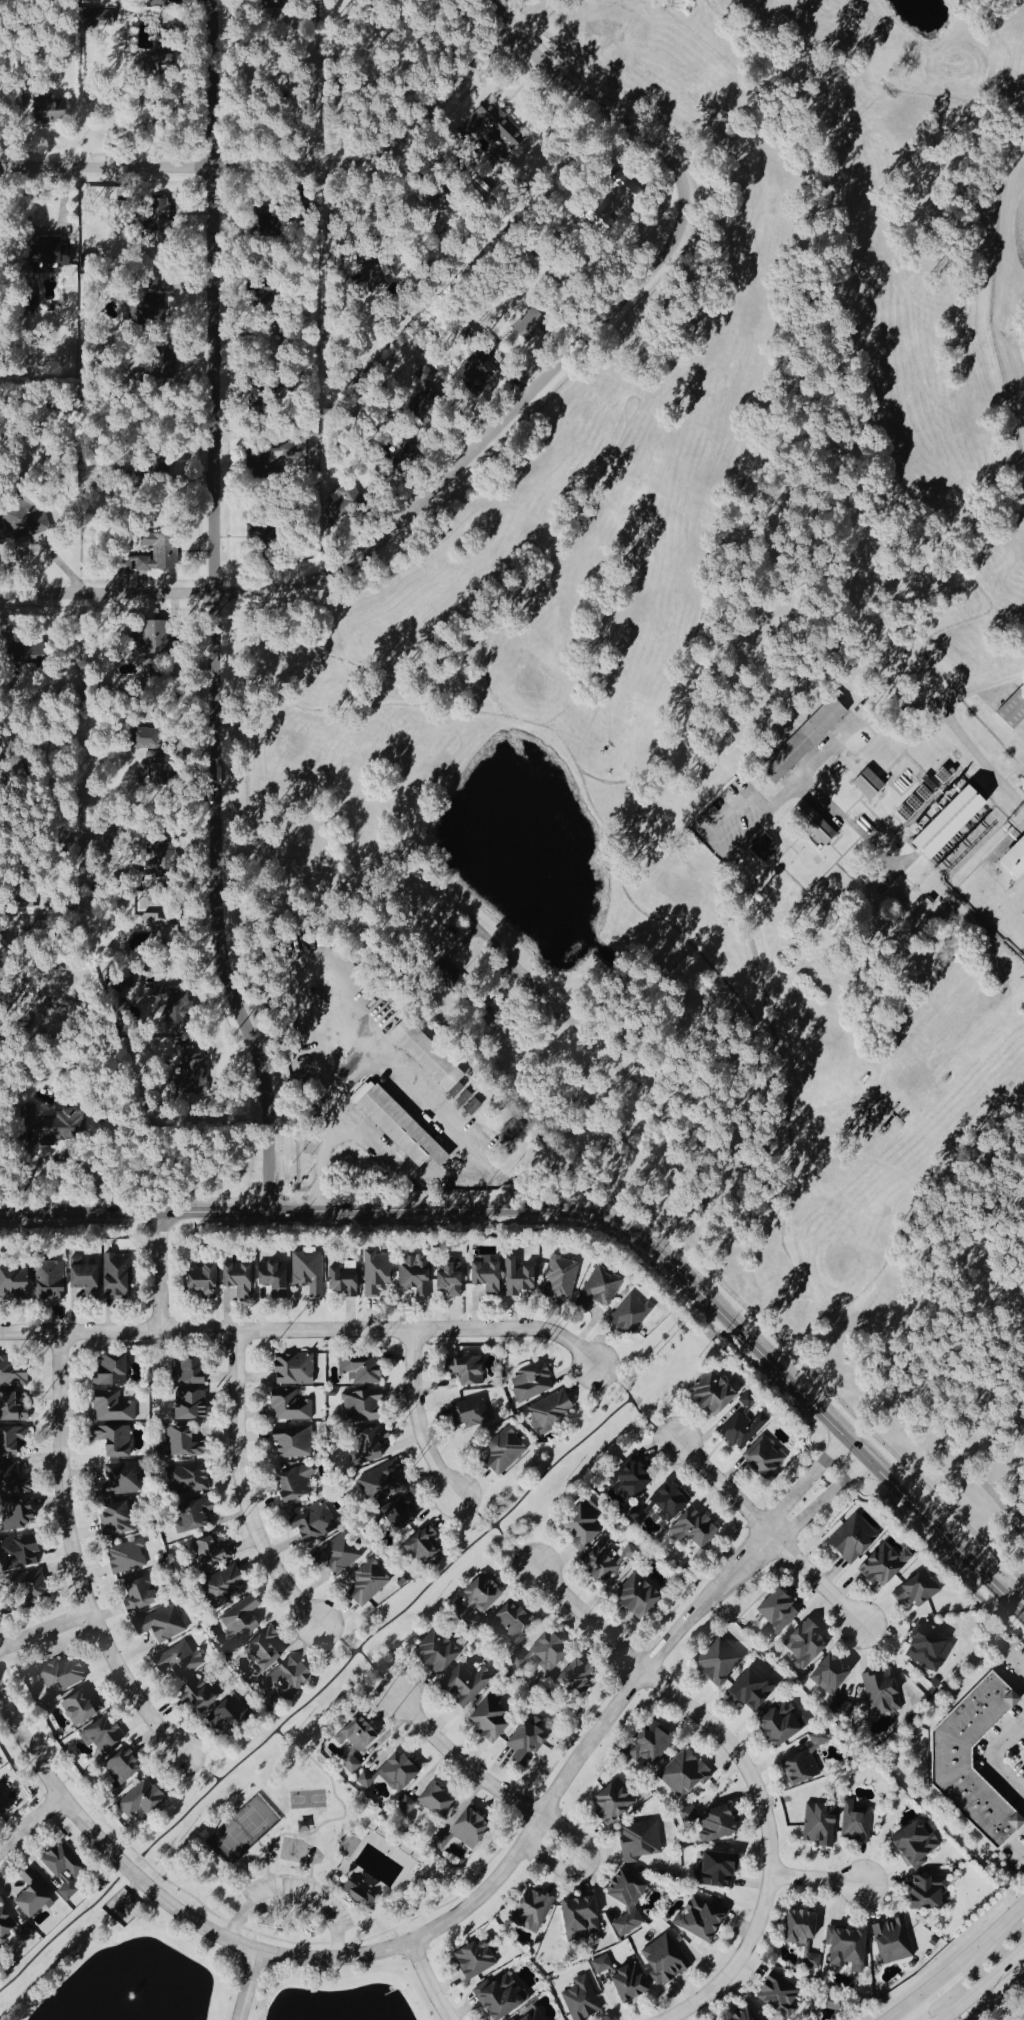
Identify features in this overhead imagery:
building: (95, 16)
road: (506, 17)
building: (44, 109)
building: (495, 122)
road: (278, 162)
building: (156, 212)
road: (328, 220)
building: (47, 252)
building: (372, 275)
building: (148, 284)
building: (28, 304)
building: (151, 306)
building: (484, 348)
building: (422, 372)
building: (470, 372)
road: (490, 433)
building: (258, 457)
building: (22, 517)
road: (42, 549)
building: (162, 550)
road: (218, 609)
building: (147, 635)
building: (25, 650)
road: (946, 695)
building: (1010, 706)
building: (142, 737)
building: (801, 739)
road: (967, 741)
building: (865, 782)
road: (802, 785)
building: (910, 803)
road: (728, 808)
building: (811, 821)
building: (943, 822)
building: (761, 846)
building: (1011, 857)
building: (175, 1002)
building: (432, 1053)
building: (193, 1062)
road: (786, 1089)
building: (398, 1128)
road: (387, 1155)
road: (590, 1217)
road: (159, 1272)
building: (374, 1273)
building: (305, 1274)
building: (268, 1275)
building: (411, 1276)
building: (497, 1276)
building: (80, 1277)
building: (114, 1277)
building: (233, 1279)
building: (199, 1280)
building: (445, 1281)
building: (339, 1282)
building: (30, 1283)
building: (577, 1285)
building: (627, 1314)
road: (304, 1329)
building: (290, 1370)
building: (357, 1370)
building: (464, 1371)
building: (105, 1372)
building: (529, 1382)
building: (708, 1398)
building: (358, 1404)
road: (634, 1404)
building: (186, 1406)
building: (286, 1406)
building: (110, 1410)
road: (418, 1415)
building: (505, 1427)
building: (740, 1427)
building: (110, 1441)
building: (289, 1442)
building: (365, 1444)
building: (762, 1459)
building: (631, 1482)
road: (802, 1483)
road: (249, 1484)
building: (377, 1487)
road: (821, 1500)
building: (301, 1504)
road: (473, 1509)
building: (395, 1516)
road: (1010, 1516)
building: (678, 1517)
building: (186, 1523)
building: (576, 1527)
road: (768, 1533)
building: (118, 1540)
building: (850, 1540)
road: (514, 1545)
building: (417, 1548)
building: (15, 1553)
road: (71, 1557)
building: (881, 1566)
building: (347, 1568)
building: (214, 1572)
building: (913, 1592)
building: (477, 1594)
building: (136, 1595)
building: (632, 1596)
building: (774, 1612)
road: (590, 1617)
building: (157, 1622)
road: (44, 1631)
road: (335, 1637)
building: (802, 1645)
building: (925, 1650)
building: (431, 1654)
building: (717, 1662)
building: (830, 1668)
building: (559, 1669)
road: (378, 1671)
building: (283, 1678)
building: (750, 1690)
road: (315, 1692)
building: (878, 1693)
building: (78, 1709)
building: (484, 1721)
building: (775, 1725)
building: (353, 1735)
building: (98, 1736)
building: (523, 1739)
road: (987, 1756)
building: (947, 1757)
road: (199, 1765)
building: (346, 1766)
building: (389, 1773)
building: (680, 1775)
road: (61, 1783)
building: (141, 1784)
building: (431, 1801)
building: (611, 1801)
road: (530, 1804)
building: (1, 1810)
road: (342, 1815)
road: (29, 1822)
building: (712, 1825)
building: (835, 1825)
park: (241, 1829)
building: (459, 1831)
building: (636, 1840)
road: (768, 1841)
road: (261, 1844)
building: (912, 1845)
park: (305, 1862)
building: (60, 1868)
building: (714, 1868)
road: (310, 1870)
road: (288, 1875)
road: (816, 1878)
building: (922, 1893)
road: (326, 1894)
building: (25, 1895)
road: (293, 1895)
building: (358, 1897)
building: (625, 1898)
parking lot: (296, 1900)
building: (529, 1910)
building: (579, 1918)
building: (697, 1919)
road: (236, 1923)
building: (12, 1930)
road: (420, 1933)
road: (396, 1935)
building: (797, 1935)
road: (991, 1937)
road: (253, 1938)
building: (890, 1940)
building: (845, 1948)
building: (471, 1958)
building: (661, 1959)
building: (618, 1979)
road: (427, 1980)
road: (248, 1984)
road: (982, 1984)
road: (931, 1989)
building: (776, 1996)
building: (497, 1997)
building: (581, 1998)
fountain: (130, 2000)
building: (529, 2015)
building: (741, 2015)
road: (897, 2015)
road: (907, 2015)

